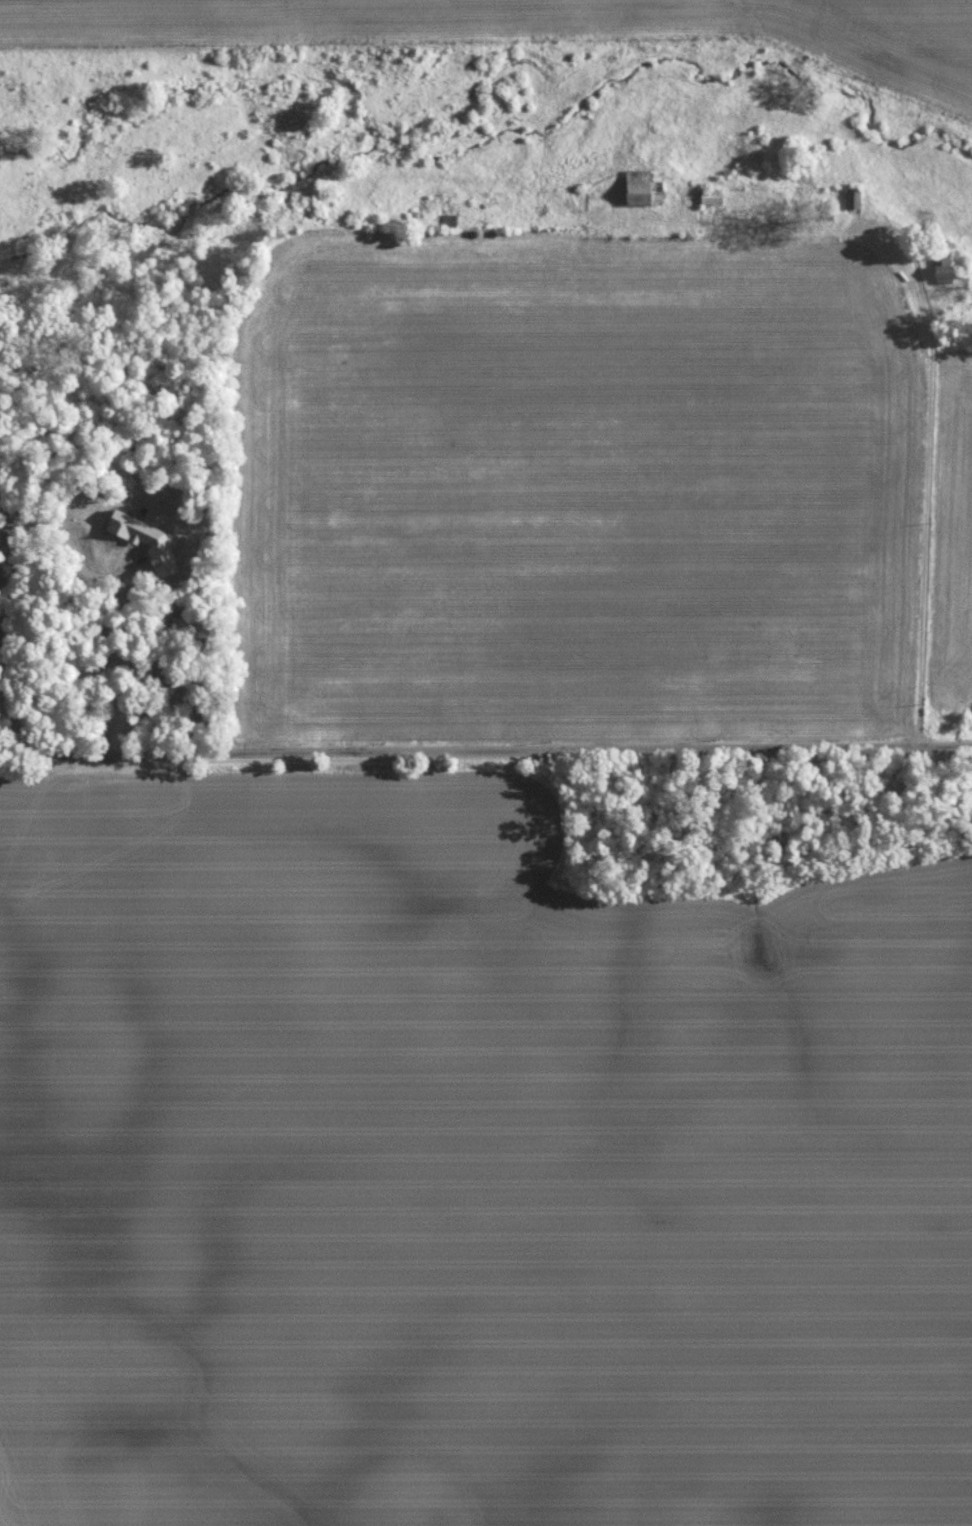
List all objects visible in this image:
building: (645, 187)
building: (946, 267)
road: (916, 482)
building: (135, 528)
road: (3, 633)
road: (521, 751)

